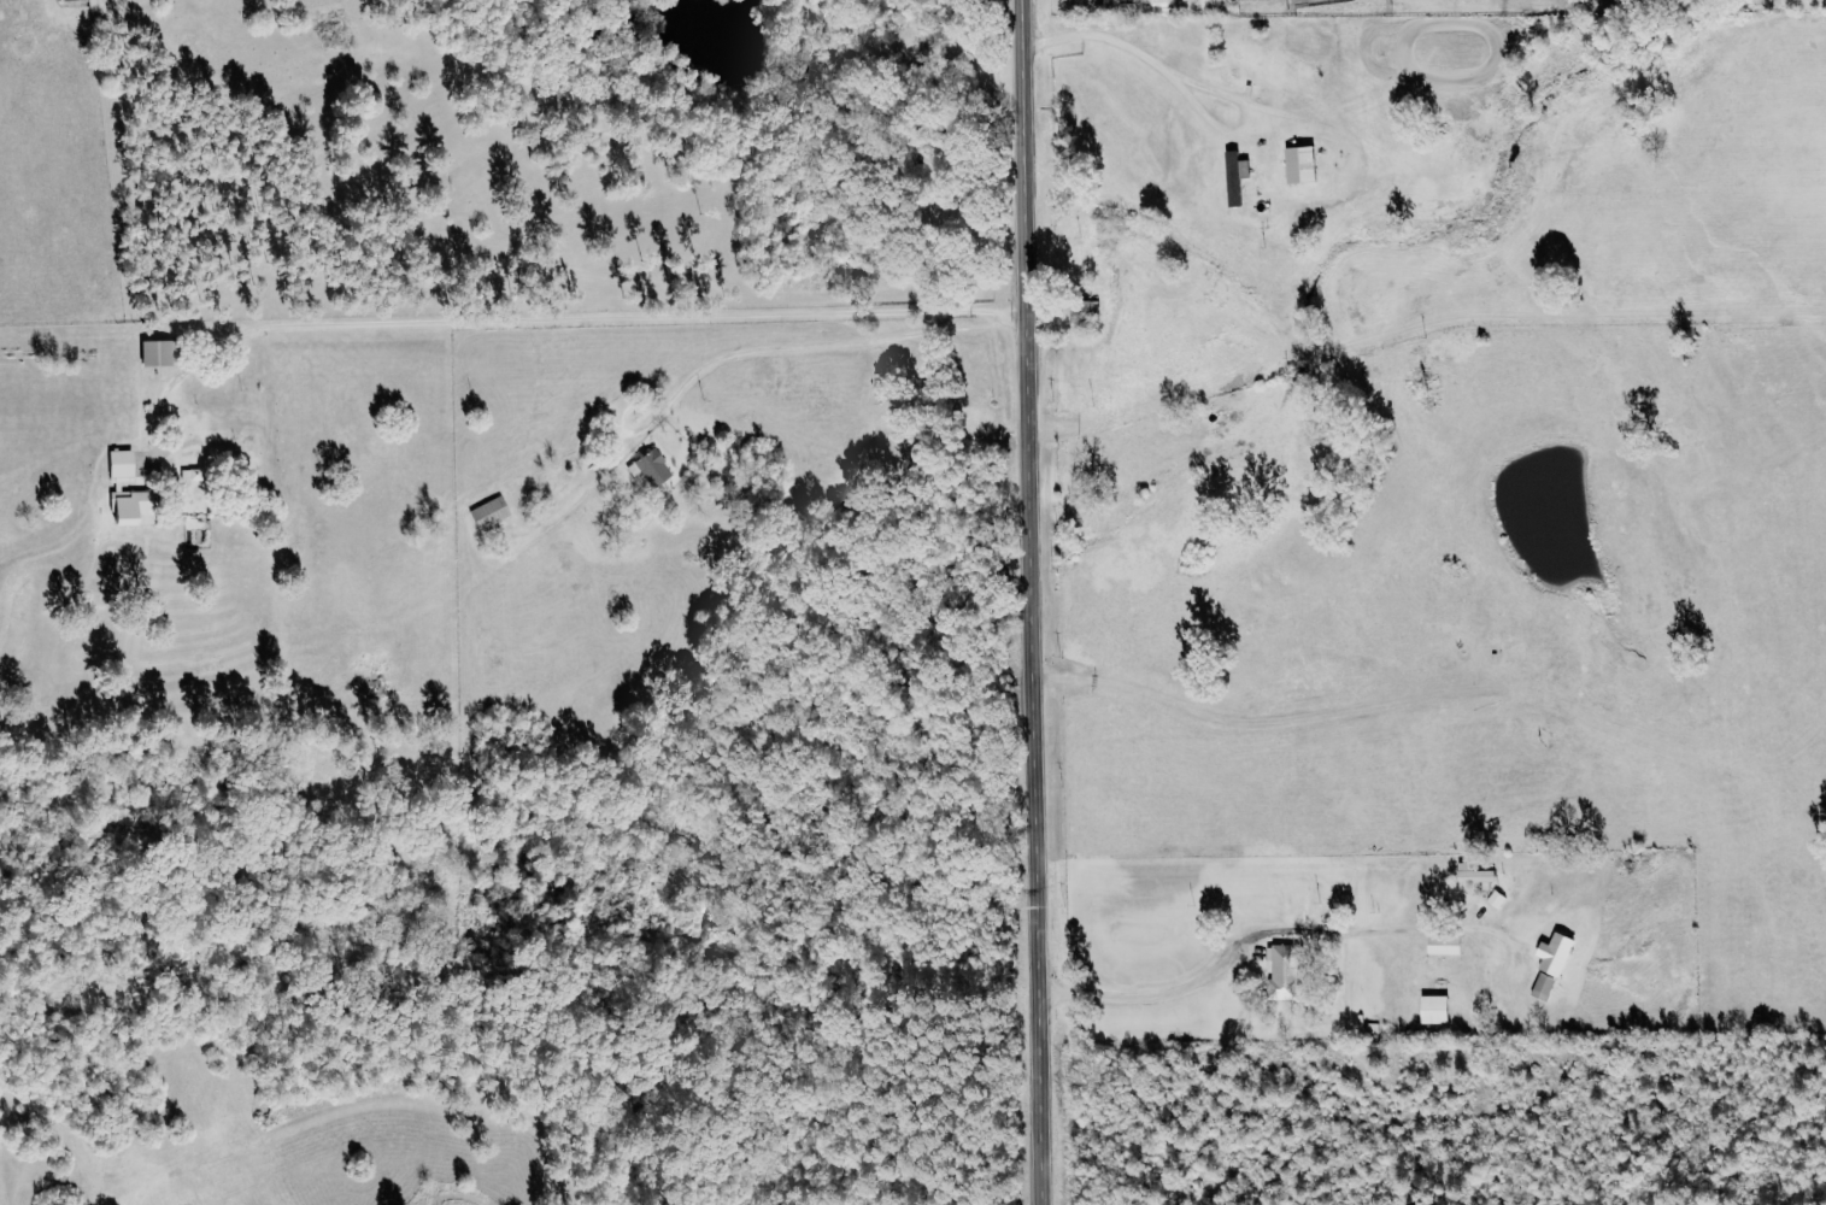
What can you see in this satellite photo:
building: (67, 0)
road: (1187, 99)
building: (1305, 164)
building: (1240, 176)
road: (554, 319)
road: (824, 345)
building: (160, 353)
building: (653, 468)
building: (493, 512)
road: (1028, 601)
building: (1478, 872)
road: (1253, 929)
building: (1555, 963)
building: (1286, 970)
building: (1439, 1009)

